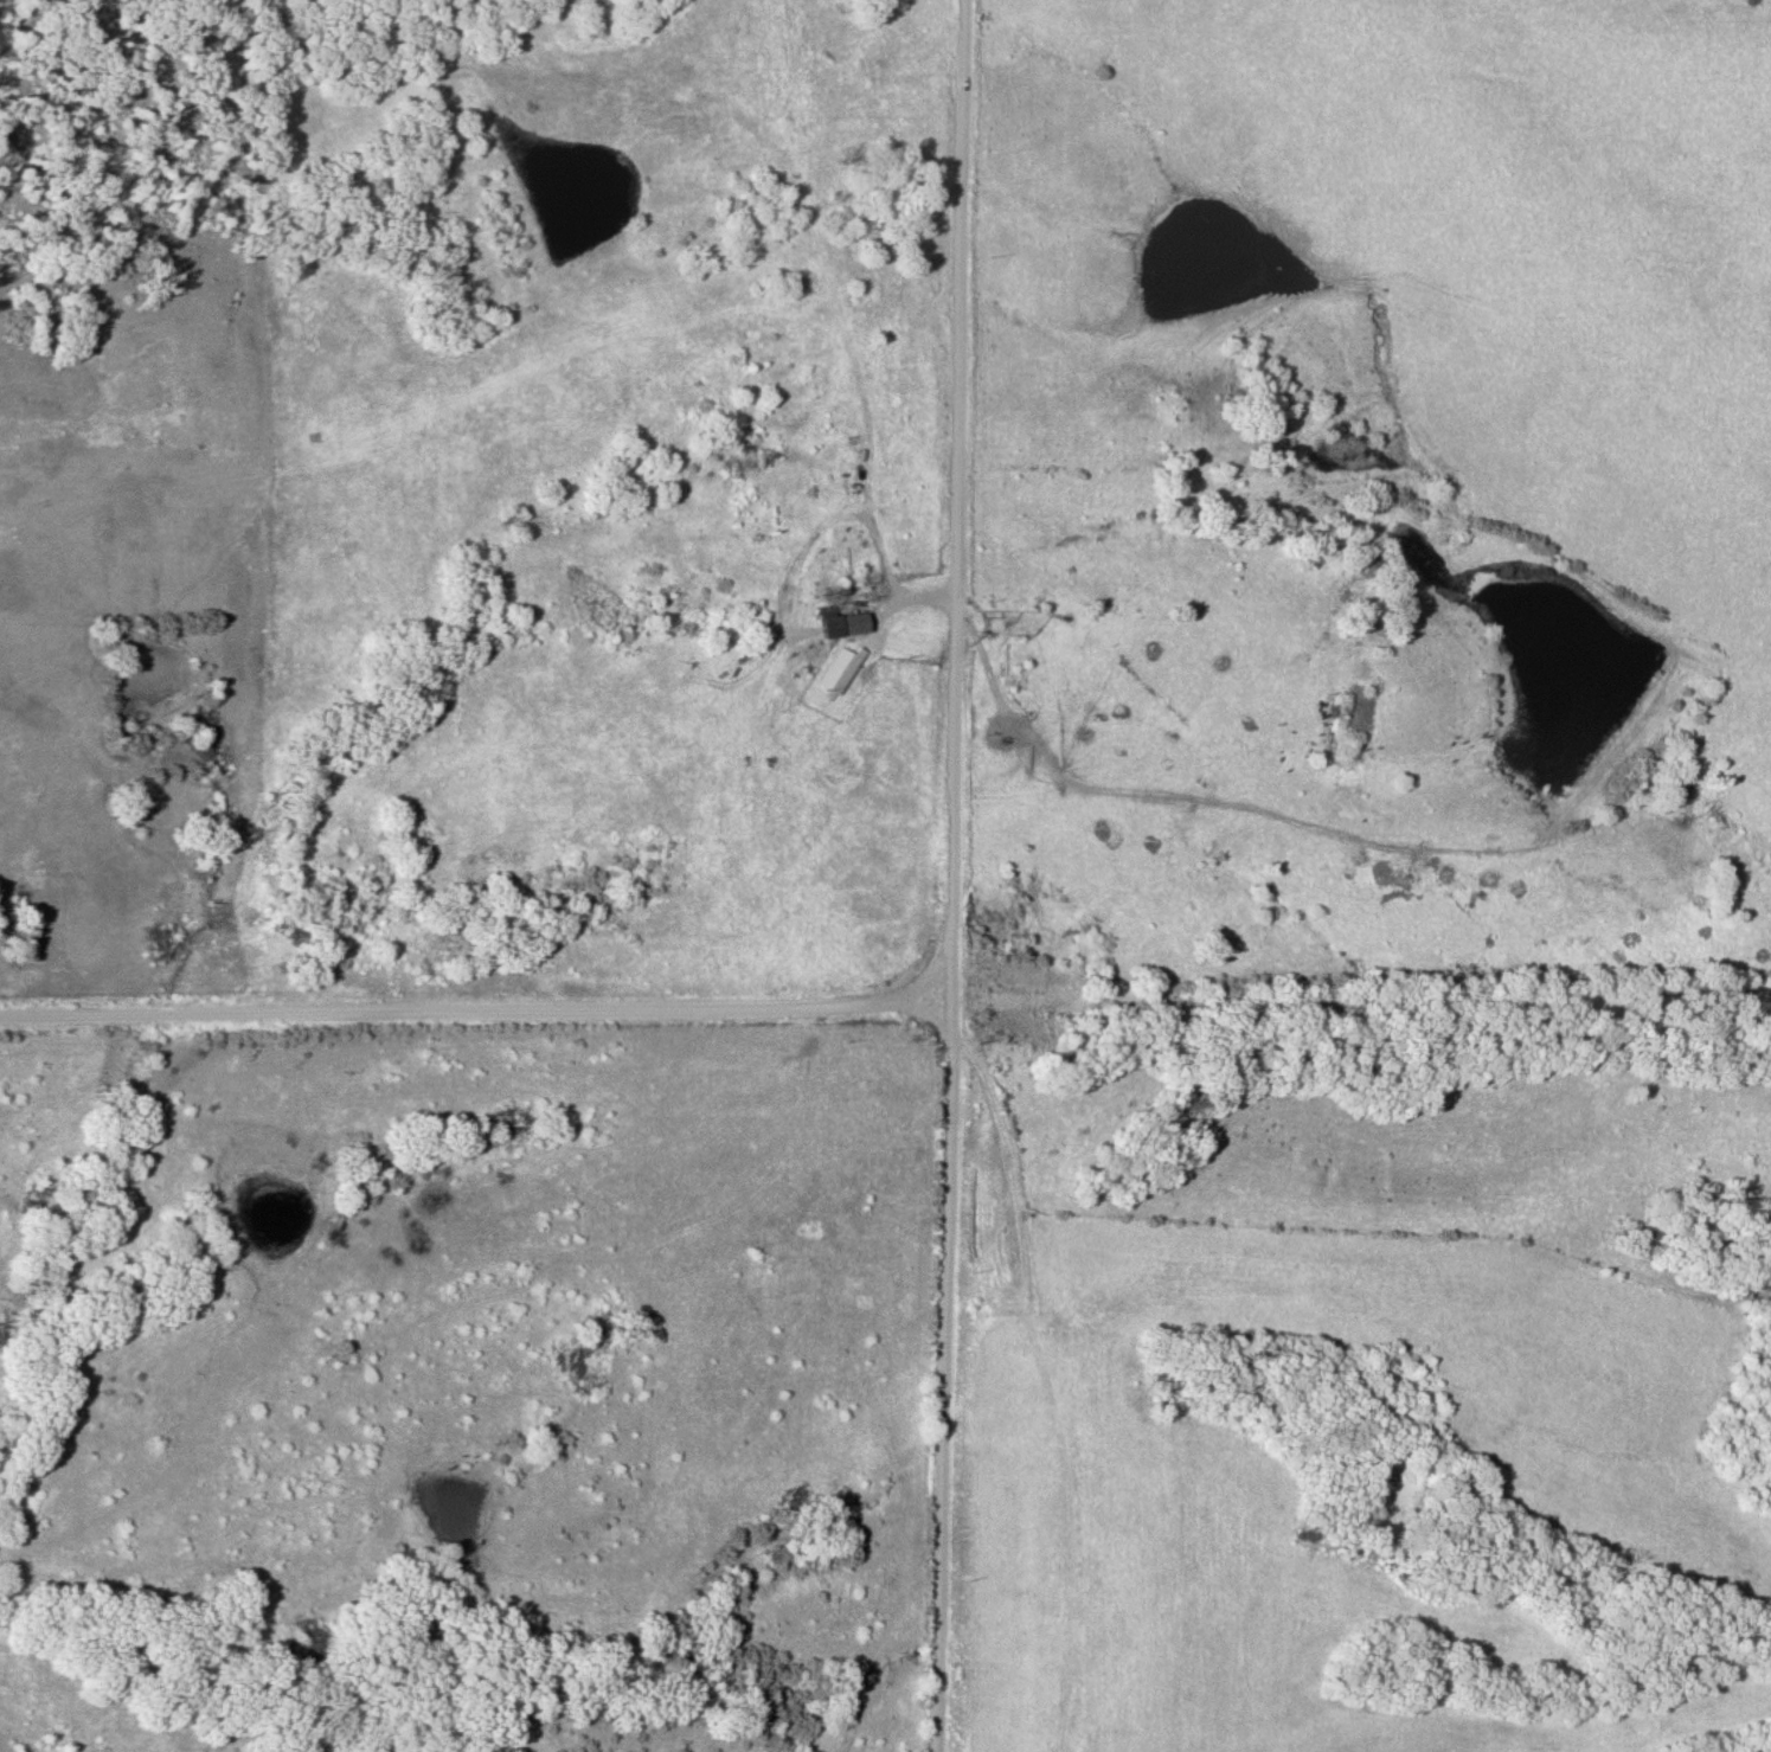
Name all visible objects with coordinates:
building: (836, 628)
building: (835, 672)
building: (1, 779)
road: (956, 875)
road: (477, 1015)

